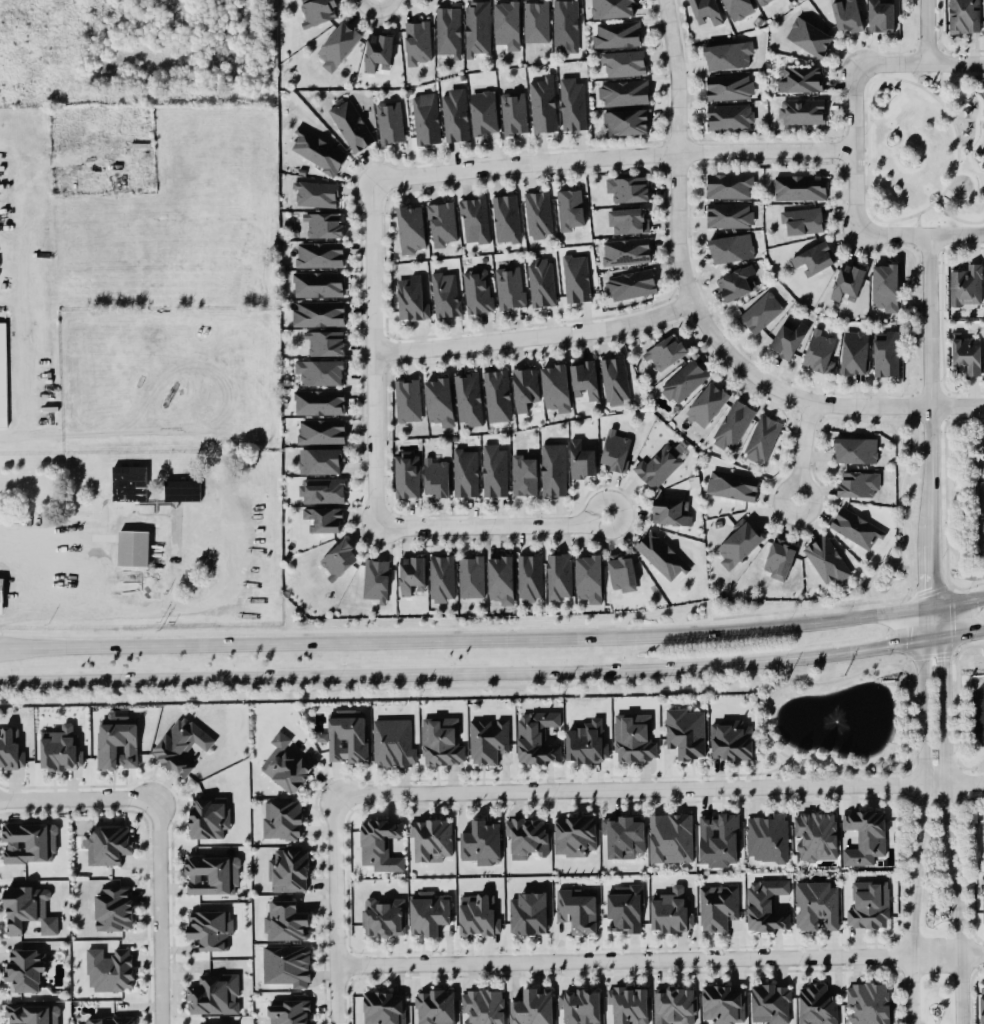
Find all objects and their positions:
building: (759, 1)
building: (738, 7)
building: (611, 8)
building: (706, 9)
building: (316, 11)
building: (846, 15)
building: (880, 15)
building: (963, 15)
building: (535, 20)
building: (507, 23)
building: (565, 25)
building: (476, 28)
building: (448, 31)
road: (927, 31)
building: (616, 33)
building: (809, 36)
building: (417, 42)
building: (337, 44)
building: (377, 50)
building: (728, 54)
building: (622, 62)
road: (956, 63)
road: (939, 76)
building: (801, 78)
road: (958, 80)
building: (729, 86)
building: (623, 92)
building: (542, 102)
building: (572, 103)
building: (800, 110)
building: (484, 112)
building: (513, 112)
building: (454, 114)
building: (729, 116)
building: (425, 117)
building: (389, 121)
building: (625, 121)
building: (350, 122)
road: (853, 149)
building: (317, 150)
road: (611, 156)
road: (861, 161)
building: (728, 185)
building: (799, 186)
building: (629, 189)
building: (314, 193)
road: (938, 197)
building: (569, 208)
building: (537, 213)
building: (729, 214)
road: (957, 217)
building: (506, 218)
building: (474, 219)
building: (627, 219)
building: (801, 219)
road: (918, 222)
building: (442, 223)
building: (323, 224)
building: (410, 228)
road: (957, 233)
building: (730, 247)
building: (625, 251)
building: (319, 253)
building: (813, 257)
building: (575, 277)
building: (847, 279)
building: (541, 281)
building: (737, 281)
building: (317, 283)
building: (630, 284)
building: (965, 284)
building: (509, 286)
building: (884, 286)
building: (478, 290)
building: (445, 293)
building: (410, 296)
building: (760, 311)
building: (317, 313)
road: (698, 314)
road: (535, 336)
building: (787, 338)
building: (324, 342)
building: (819, 349)
building: (664, 351)
building: (854, 352)
building: (885, 352)
building: (966, 352)
building: (319, 370)
building: (3, 373)
building: (584, 377)
building: (614, 379)
building: (683, 380)
building: (524, 386)
building: (555, 386)
building: (497, 394)
building: (467, 398)
building: (407, 399)
building: (439, 399)
building: (318, 401)
building: (706, 403)
road: (929, 419)
building: (732, 424)
building: (319, 431)
road: (15, 434)
building: (761, 437)
building: (615, 449)
building: (855, 449)
building: (982, 449)
road: (803, 450)
building: (581, 459)
building: (320, 460)
building: (661, 462)
building: (552, 468)
road: (374, 469)
building: (494, 469)
building: (407, 472)
building: (465, 472)
building: (524, 473)
building: (435, 476)
building: (129, 482)
building: (855, 484)
building: (732, 485)
building: (182, 489)
building: (321, 489)
road: (228, 493)
building: (671, 511)
building: (322, 519)
building: (855, 527)
building: (739, 542)
building: (133, 547)
building: (661, 554)
building: (779, 558)
building: (337, 559)
building: (826, 560)
building: (621, 571)
building: (410, 572)
building: (470, 575)
building: (529, 576)
building: (558, 576)
building: (588, 577)
building: (441, 578)
building: (500, 578)
building: (375, 579)
building: (1, 594)
road: (72, 606)
road: (493, 641)
road: (750, 661)
road: (257, 676)
fountain: (831, 720)
building: (685, 731)
building: (346, 734)
building: (537, 736)
building: (632, 737)
building: (487, 739)
building: (730, 739)
building: (117, 741)
building: (393, 741)
building: (440, 741)
building: (586, 741)
building: (181, 744)
building: (10, 749)
building: (60, 749)
building: (287, 763)
road: (658, 789)
road: (75, 797)
road: (947, 814)
building: (207, 815)
road: (922, 815)
building: (282, 819)
building: (983, 830)
building: (574, 834)
building: (815, 834)
building: (623, 835)
building: (863, 835)
building: (430, 836)
building: (526, 836)
building: (670, 836)
building: (767, 836)
building: (718, 838)
building: (29, 840)
building: (480, 841)
building: (381, 843)
building: (106, 844)
building: (288, 870)
building: (211, 873)
building: (979, 900)
building: (766, 904)
building: (816, 904)
building: (869, 904)
building: (717, 905)
building: (983, 907)
building: (113, 908)
building: (625, 908)
building: (26, 909)
building: (575, 909)
road: (335, 910)
building: (671, 910)
building: (428, 912)
road: (153, 913)
building: (477, 913)
building: (528, 913)
building: (383, 916)
building: (285, 920)
building: (210, 929)
road: (660, 959)
building: (286, 965)
building: (25, 968)
building: (108, 968)
building: (213, 993)
building: (627, 1002)
building: (722, 1002)
building: (867, 1002)
building: (770, 1003)
building: (981, 1003)
building: (578, 1004)
building: (675, 1004)
building: (816, 1004)
building: (531, 1005)
building: (384, 1006)
building: (434, 1006)
building: (482, 1006)
building: (289, 1009)
building: (31, 1013)
building: (110, 1020)

